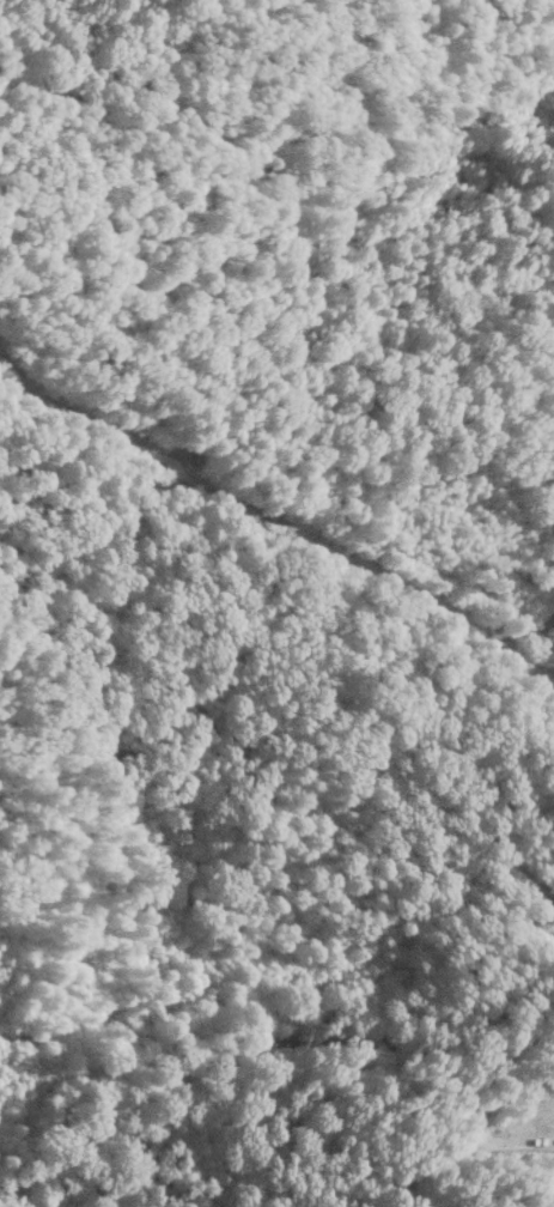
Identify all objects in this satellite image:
road: (257, 1044)

